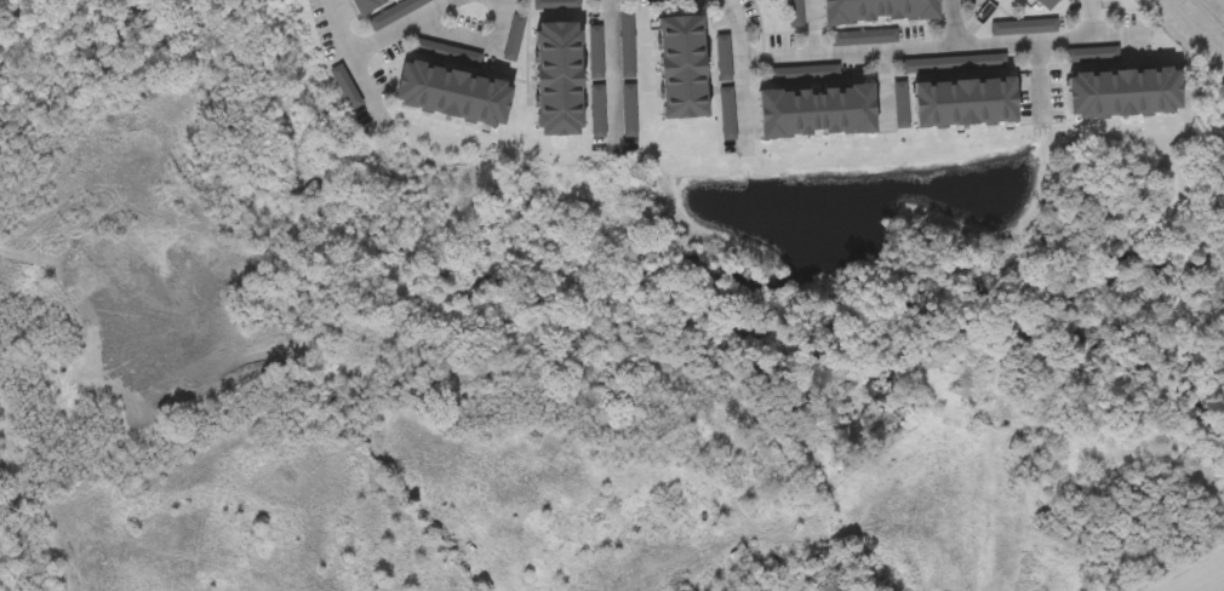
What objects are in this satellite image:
building: (364, 4)
building: (1048, 5)
building: (881, 12)
road: (954, 21)
road: (401, 25)
road: (806, 27)
road: (736, 28)
road: (476, 42)
road: (943, 42)
road: (350, 57)
road: (611, 68)
building: (684, 70)
building: (561, 81)
building: (345, 88)
building: (1126, 96)
building: (456, 97)
road: (745, 103)
building: (966, 105)
building: (818, 114)
road: (1206, 580)
building: (843, 584)

